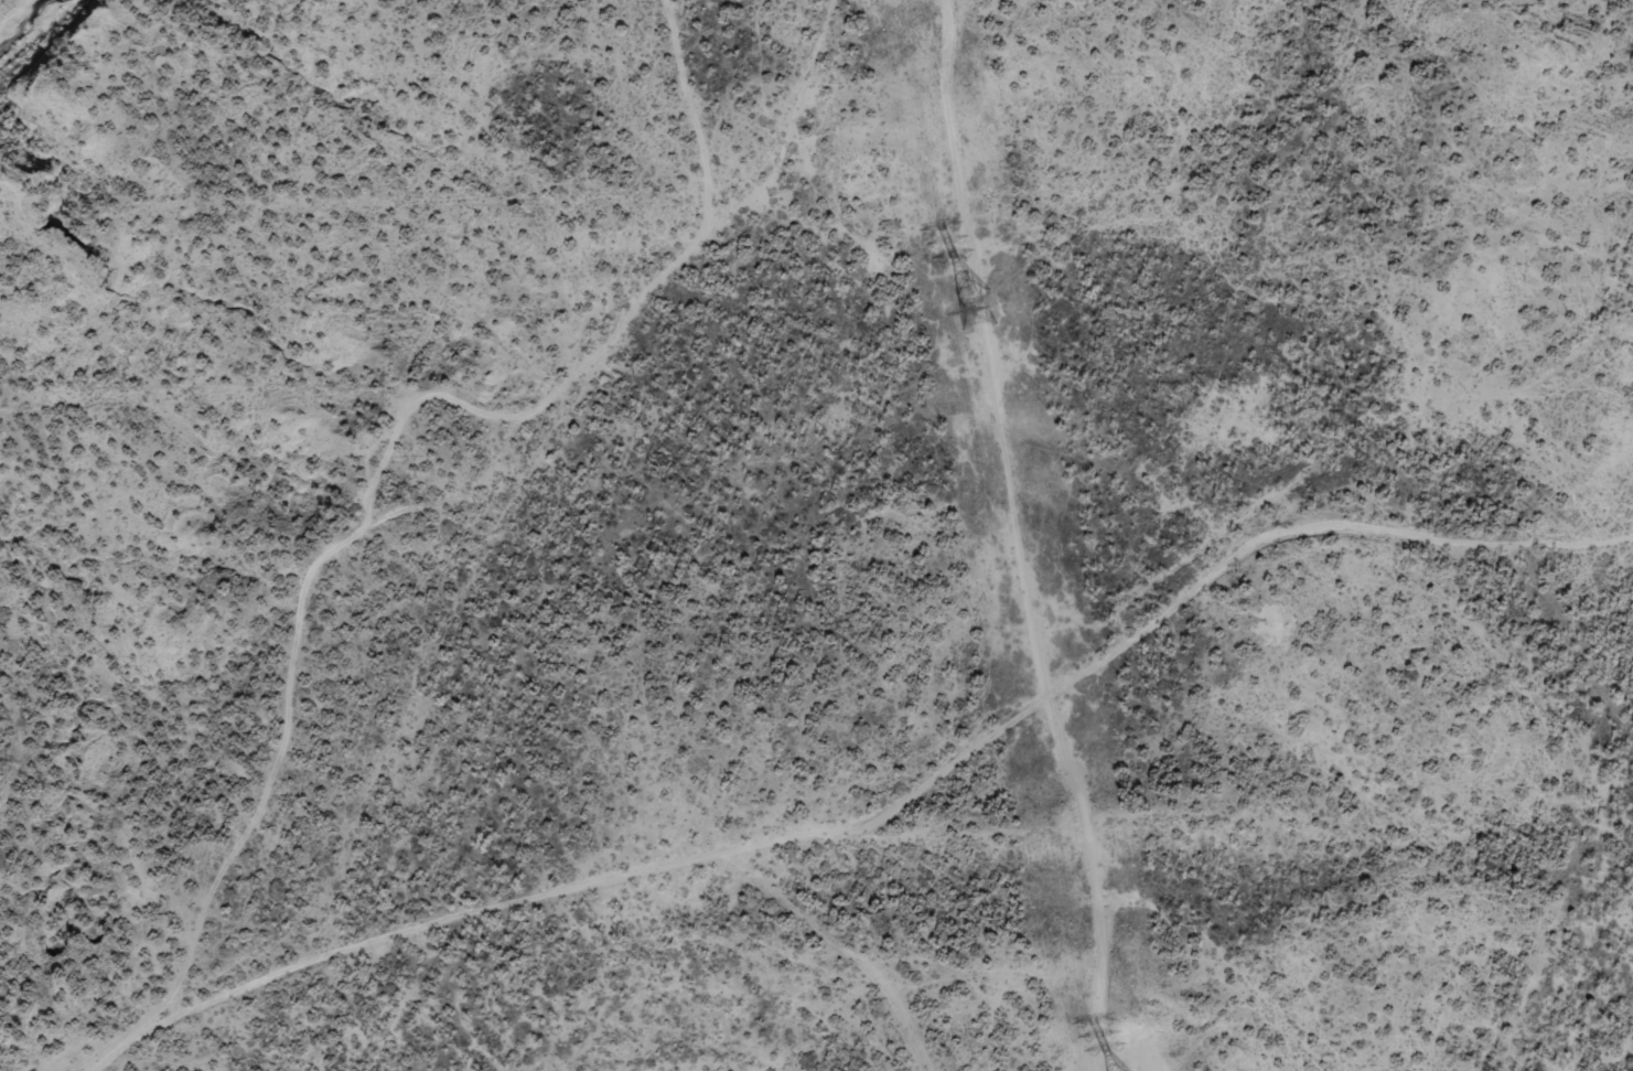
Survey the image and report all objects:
river: (0, 0)
power tower: (980, 311)
road: (383, 502)
road: (914, 769)

